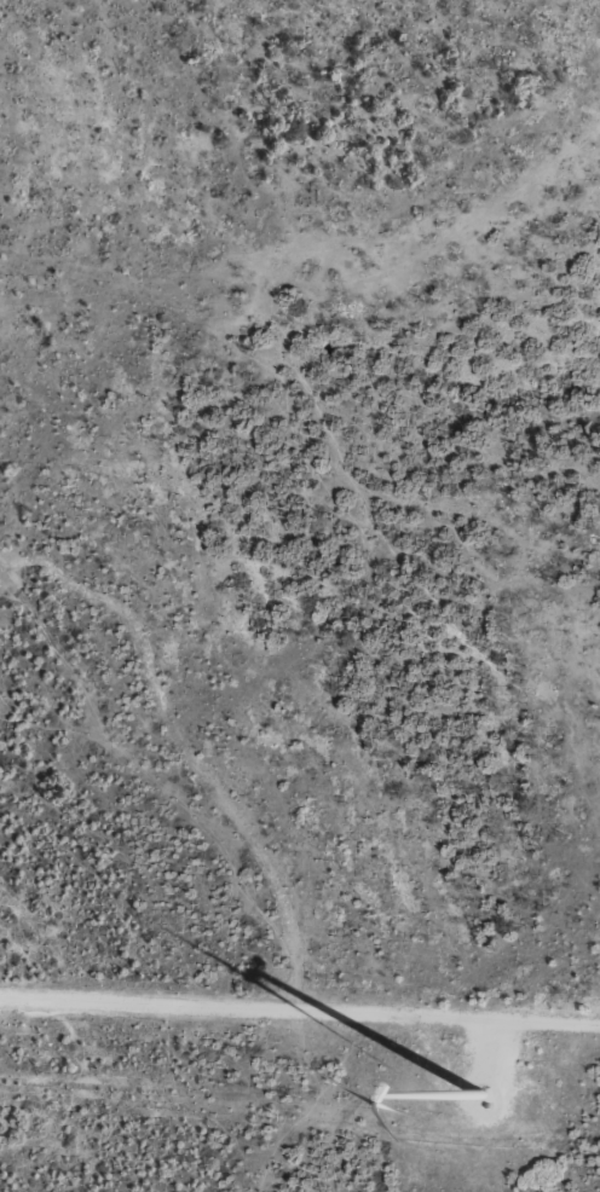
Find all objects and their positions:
wind turbine: (494, 1109)

